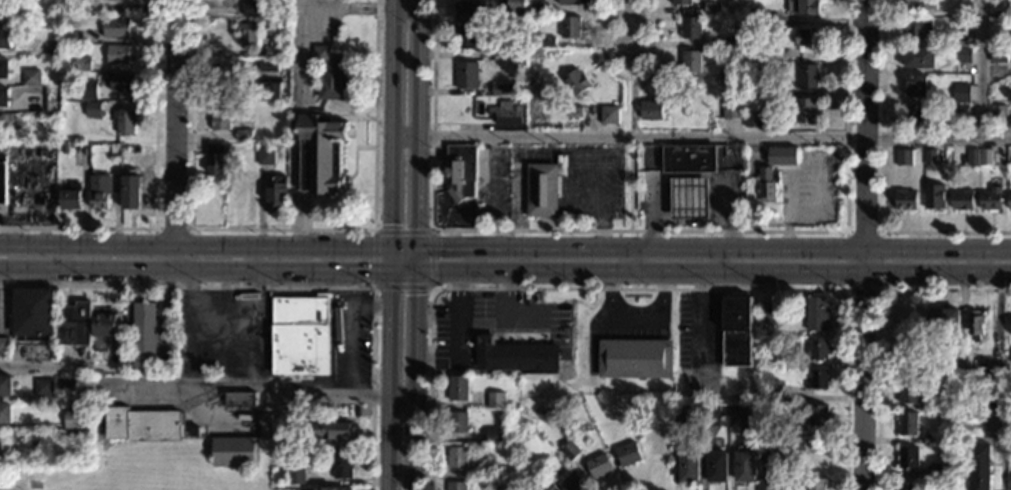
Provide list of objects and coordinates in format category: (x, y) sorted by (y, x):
building: (969, 0)
building: (999, 0)
building: (575, 2)
building: (681, 2)
building: (923, 4)
building: (536, 6)
building: (804, 6)
building: (515, 7)
building: (80, 8)
building: (253, 8)
road: (408, 8)
building: (712, 8)
building: (471, 10)
building: (0, 12)
building: (965, 13)
building: (753, 16)
building: (11, 18)
building: (268, 22)
building: (115, 27)
building: (570, 27)
road: (632, 27)
building: (713, 27)
building: (917, 27)
building: (691, 28)
building: (249, 33)
building: (80, 34)
building: (807, 37)
building: (5, 38)
building: (998, 38)
building: (468, 39)
building: (547, 41)
building: (731, 41)
building: (49, 48)
building: (515, 50)
building: (753, 51)
building: (273, 52)
building: (118, 54)
building: (998, 54)
building: (963, 55)
building: (920, 57)
building: (691, 61)
building: (82, 64)
building: (269, 65)
building: (4, 68)
road: (981, 69)
road: (353, 70)
building: (330, 73)
building: (468, 74)
building: (261, 76)
road: (631, 76)
building: (808, 76)
building: (32, 77)
road: (364, 78)
building: (576, 81)
building: (122, 82)
road: (297, 83)
building: (917, 85)
building: (754, 86)
building: (506, 88)
building: (88, 89)
building: (270, 90)
building: (961, 93)
building: (4, 96)
building: (520, 99)
building: (36, 101)
building: (494, 101)
building: (63, 107)
building: (93, 109)
building: (961, 109)
building: (651, 110)
building: (732, 110)
building: (806, 110)
building: (506, 113)
building: (998, 113)
building: (914, 114)
building: (609, 115)
building: (221, 116)
road: (347, 118)
road: (372, 119)
building: (753, 119)
building: (125, 121)
building: (0, 124)
road: (175, 133)
building: (243, 134)
road: (393, 134)
road: (421, 134)
road: (702, 137)
road: (360, 147)
building: (130, 148)
road: (372, 148)
building: (116, 149)
building: (780, 152)
building: (80, 153)
building: (321, 153)
road: (631, 154)
building: (266, 156)
building: (985, 156)
building: (904, 157)
building: (930, 157)
building: (972, 157)
building: (216, 158)
building: (690, 159)
building: (461, 171)
building: (2, 178)
road: (881, 179)
building: (768, 185)
building: (544, 187)
building: (100, 191)
building: (276, 191)
road: (349, 191)
building: (131, 192)
road: (155, 192)
building: (934, 196)
building: (70, 197)
building: (690, 198)
building: (991, 198)
building: (905, 199)
building: (963, 200)
building: (1009, 201)
traffic signals: (392, 224)
road: (284, 229)
road: (433, 231)
road: (639, 231)
road: (156, 239)
road: (866, 245)
traffic signals: (439, 249)
road: (505, 249)
road: (196, 267)
traffic signals: (367, 268)
road: (404, 268)
road: (713, 269)
road: (878, 286)
road: (288, 287)
road: (639, 287)
traffic signals: (416, 295)
building: (766, 313)
building: (33, 314)
building: (816, 314)
road: (200, 316)
road: (252, 317)
building: (942, 319)
road: (877, 323)
building: (74, 324)
parking lot: (494, 324)
building: (975, 325)
building: (102, 330)
road: (352, 330)
building: (736, 331)
building: (144, 335)
parking lot: (226, 335)
building: (301, 336)
parking lot: (349, 341)
building: (3, 346)
building: (819, 348)
building: (516, 356)
building: (773, 357)
building: (635, 358)
building: (957, 365)
road: (38, 367)
building: (993, 372)
road: (415, 378)
building: (499, 378)
road: (390, 379)
building: (817, 380)
building: (6, 385)
building: (44, 387)
building: (459, 388)
building: (908, 390)
road: (264, 392)
building: (773, 396)
building: (241, 399)
building: (496, 399)
building: (996, 400)
building: (6, 413)
building: (683, 413)
building: (710, 414)
building: (743, 414)
building: (818, 415)
building: (76, 419)
building: (458, 421)
building: (262, 423)
building: (142, 424)
building: (908, 424)
building: (334, 430)
building: (772, 431)
building: (494, 435)
building: (930, 440)
building: (0, 442)
building: (717, 443)
building: (796, 445)
building: (570, 450)
building: (234, 451)
building: (1010, 451)
building: (629, 454)
building: (458, 457)
building: (771, 457)
building: (909, 457)
building: (599, 465)
building: (341, 466)
building: (689, 466)
building: (717, 466)
building: (745, 466)
building: (980, 467)
building: (500, 471)
building: (487, 472)
building: (939, 472)
building: (295, 476)
park: (134, 481)
building: (573, 481)
building: (767, 484)
building: (817, 484)
building: (458, 486)
road: (630, 486)
building: (908, 486)
building: (331, 488)
building: (554, 488)

